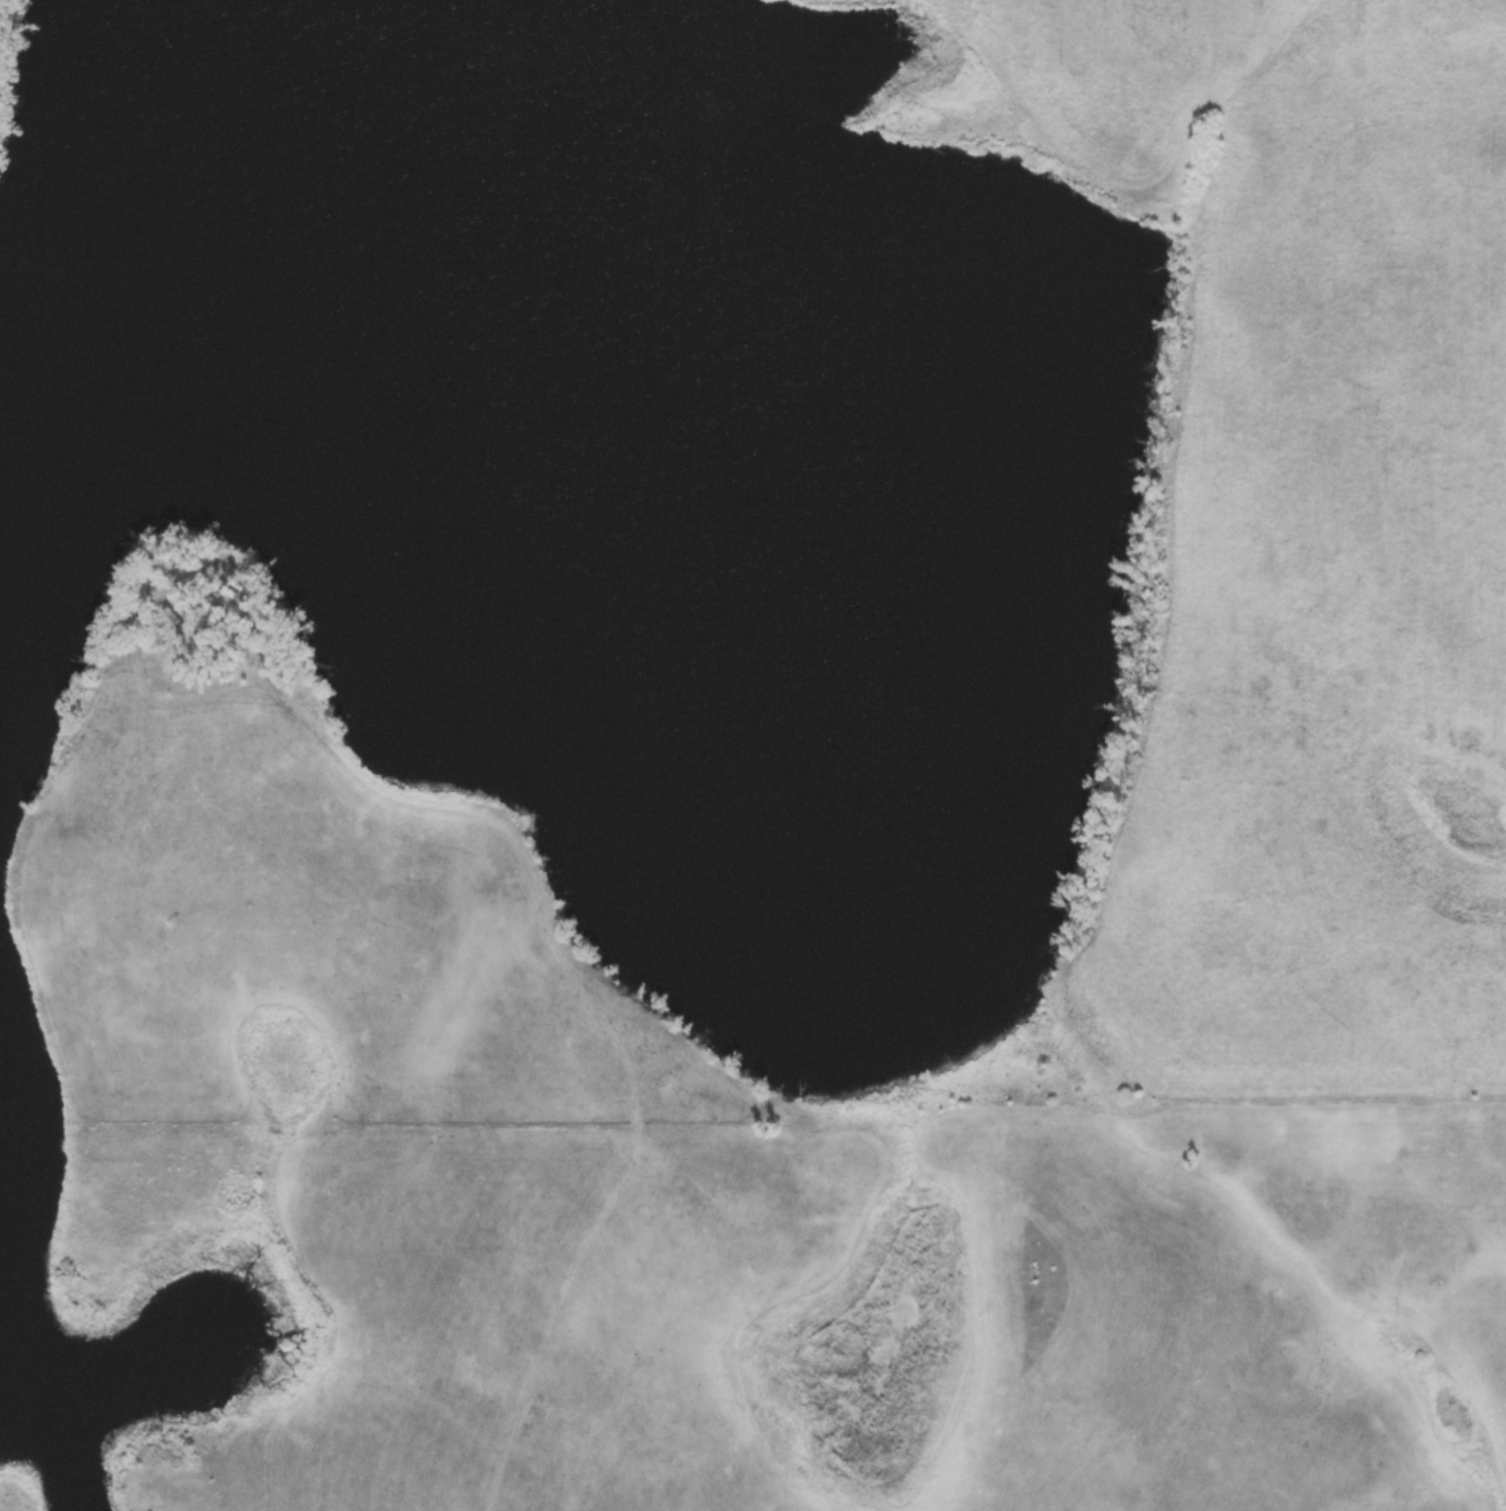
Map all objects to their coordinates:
building: (173, 618)

